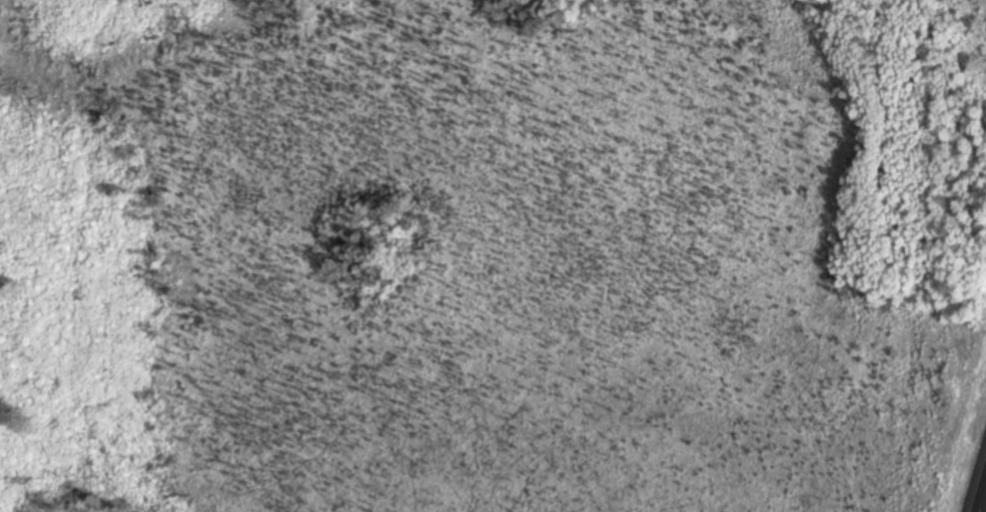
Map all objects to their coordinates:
road: (981, 497)

